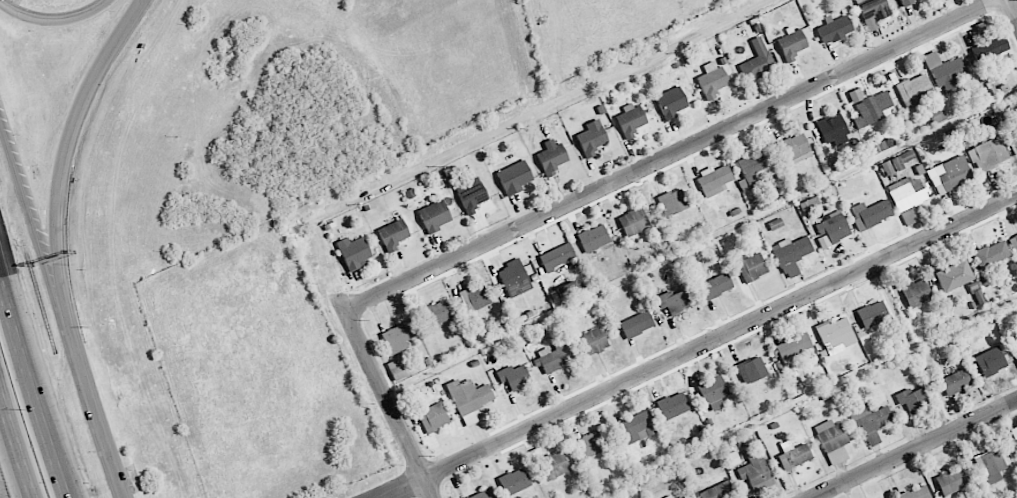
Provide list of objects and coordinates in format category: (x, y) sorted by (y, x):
building: (905, 2)
road: (1013, 7)
building: (872, 12)
road: (57, 22)
building: (834, 28)
building: (791, 43)
building: (989, 48)
building: (757, 60)
building: (946, 72)
building: (712, 80)
building: (913, 90)
building: (854, 95)
building: (670, 102)
building: (871, 109)
building: (936, 114)
road: (74, 120)
building: (630, 120)
road: (510, 124)
building: (833, 130)
building: (1015, 132)
building: (591, 138)
building: (881, 145)
building: (794, 149)
building: (987, 154)
road: (672, 155)
building: (907, 156)
building: (551, 159)
building: (891, 165)
building: (753, 167)
building: (949, 174)
building: (514, 177)
building: (712, 180)
road: (23, 191)
building: (470, 194)
building: (907, 197)
building: (672, 202)
building: (809, 203)
building: (872, 212)
building: (434, 215)
building: (633, 222)
building: (775, 223)
building: (831, 230)
building: (392, 235)
building: (593, 238)
building: (1014, 244)
building: (353, 252)
building: (991, 253)
building: (791, 254)
building: (556, 256)
building: (751, 267)
building: (954, 275)
building: (513, 278)
building: (715, 286)
building: (567, 291)
building: (914, 292)
building: (979, 297)
building: (473, 298)
building: (673, 301)
building: (434, 314)
building: (872, 314)
building: (635, 324)
building: (835, 335)
building: (399, 336)
building: (592, 341)
building: (1016, 342)
building: (793, 346)
road: (702, 347)
building: (553, 356)
building: (990, 361)
building: (1016, 361)
building: (396, 369)
building: (751, 370)
building: (513, 376)
road: (85, 378)
building: (957, 381)
road: (36, 388)
building: (713, 392)
road: (385, 395)
building: (468, 399)
building: (912, 399)
building: (671, 406)
building: (433, 417)
building: (870, 420)
building: (635, 427)
building: (1014, 434)
building: (832, 441)
building: (592, 443)
road: (13, 447)
road: (916, 449)
building: (793, 455)
building: (553, 465)
building: (990, 466)
building: (755, 473)
building: (514, 481)
building: (951, 481)
building: (718, 491)
building: (915, 493)
building: (482, 494)
building: (668, 496)
building: (682, 497)

